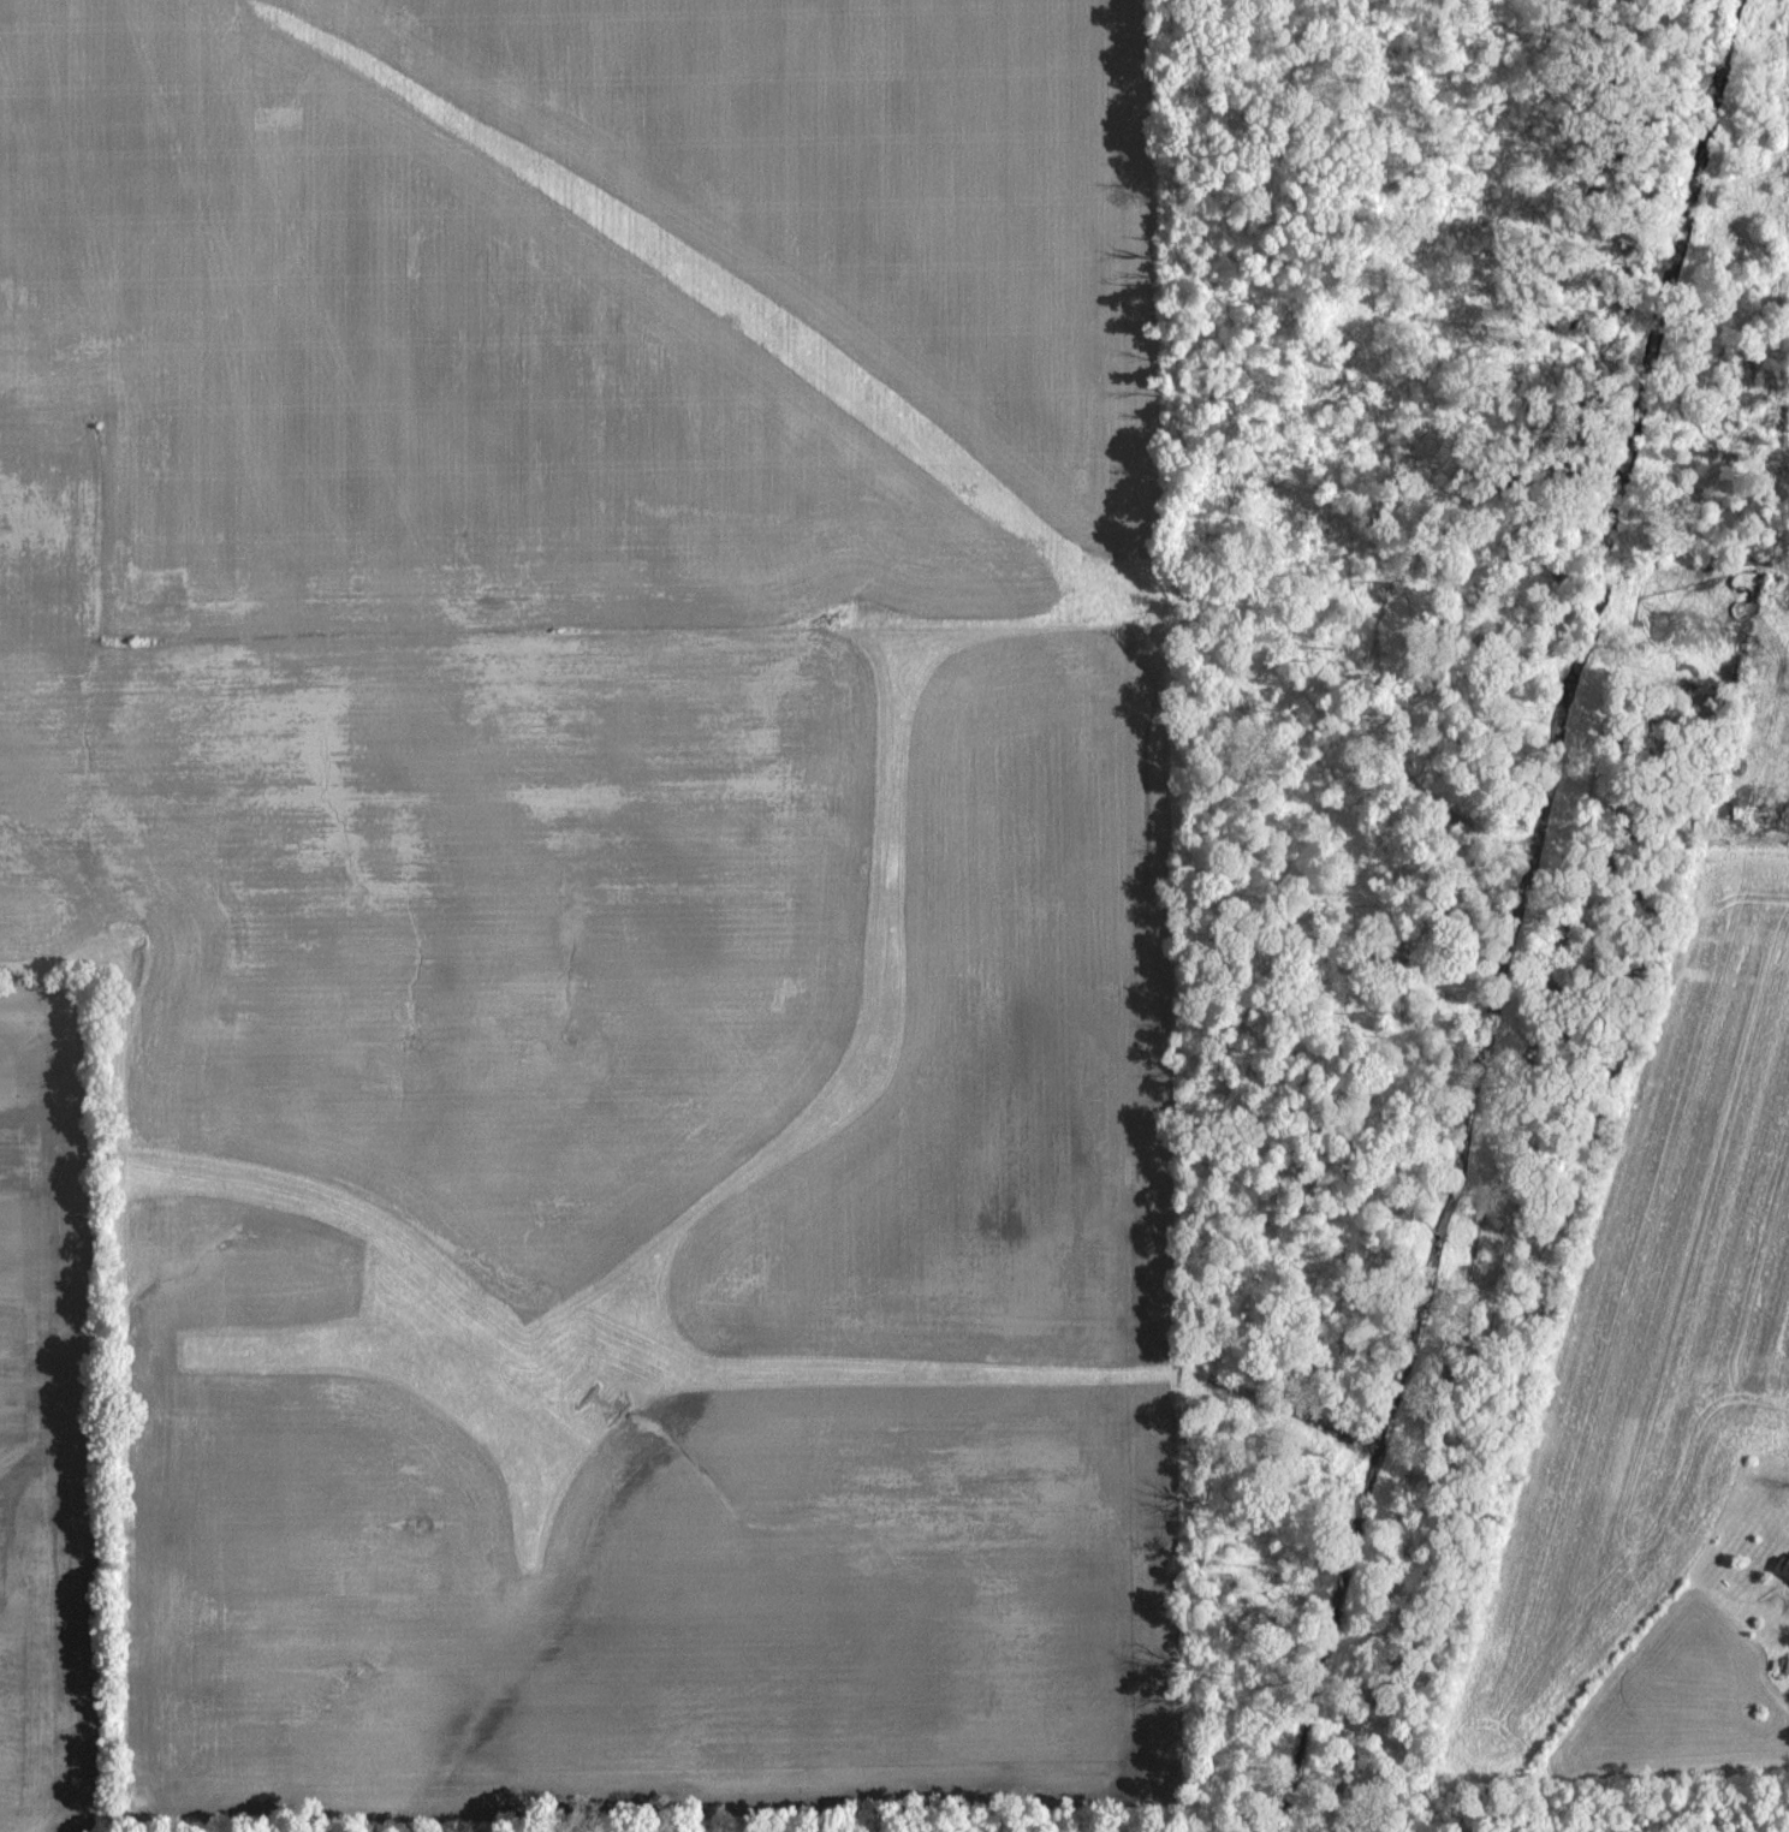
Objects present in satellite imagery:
building: (1783, 1565)

